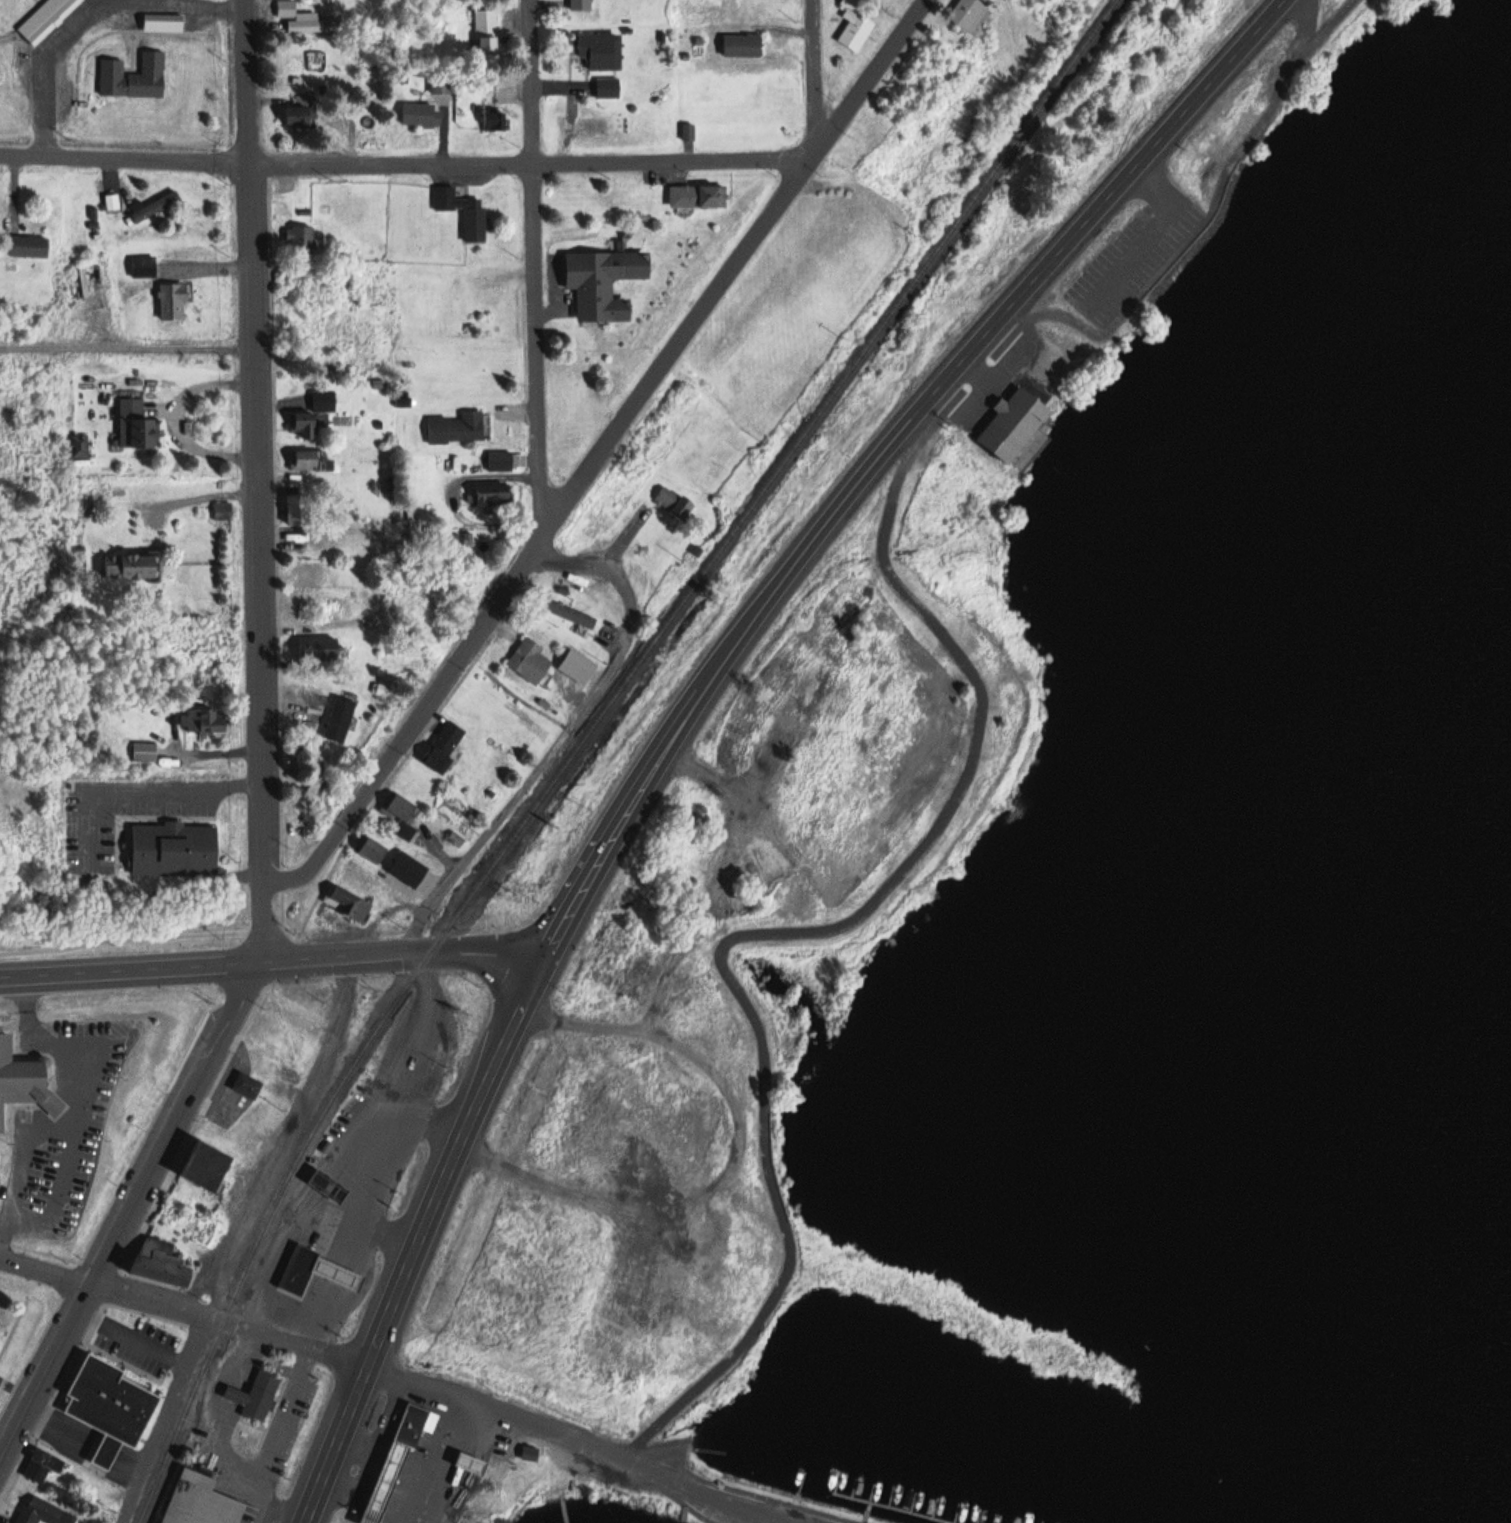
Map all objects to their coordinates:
building: (583, 5)
building: (287, 9)
road: (91, 13)
building: (971, 15)
building: (52, 21)
building: (164, 23)
building: (308, 26)
building: (857, 26)
building: (744, 46)
building: (599, 52)
road: (821, 73)
building: (135, 78)
road: (250, 81)
building: (609, 89)
building: (422, 116)
building: (302, 118)
building: (495, 122)
road: (411, 160)
building: (698, 196)
building: (156, 207)
building: (465, 212)
building: (301, 239)
building: (31, 246)
road: (542, 261)
building: (144, 267)
building: (605, 283)
building: (174, 301)
building: (325, 400)
building: (137, 423)
building: (1016, 423)
building: (305, 426)
building: (458, 427)
road: (599, 451)
building: (311, 460)
building: (501, 460)
building: (494, 493)
building: (676, 503)
building: (300, 509)
building: (315, 542)
road: (258, 563)
building: (137, 567)
building: (314, 574)
building: (570, 614)
building: (320, 650)
building: (531, 662)
road: (699, 699)
building: (341, 720)
building: (206, 722)
road: (564, 734)
railway: (587, 737)
building: (445, 747)
building: (146, 752)
building: (309, 793)
building: (404, 816)
building: (174, 848)
building: (394, 862)
building: (345, 899)
road: (272, 964)
building: (25, 1078)
building: (238, 1083)
building: (208, 1167)
road: (376, 1169)
road: (738, 1172)
building: (332, 1184)
road: (131, 1213)
building: (161, 1261)
building: (290, 1268)
building: (329, 1271)
road: (402, 1375)
building: (262, 1394)
building: (112, 1404)
road: (167, 1419)
building: (412, 1422)
building: (531, 1453)
building: (44, 1466)
building: (384, 1481)
building: (203, 1501)
building: (29, 1515)

